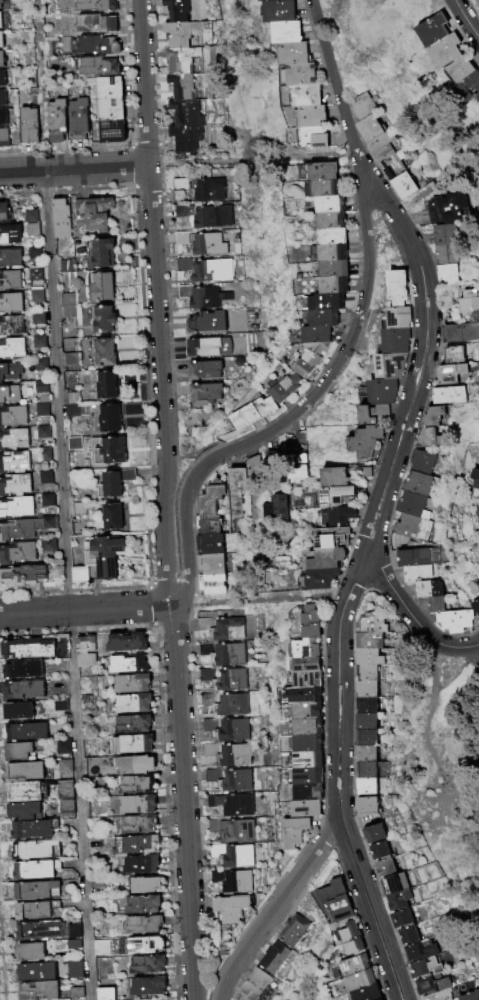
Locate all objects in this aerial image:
building: (270, 0)
building: (91, 6)
building: (176, 11)
building: (278, 11)
road: (466, 20)
building: (0, 24)
building: (91, 24)
building: (433, 30)
building: (286, 32)
building: (180, 34)
park: (360, 42)
building: (0, 43)
building: (93, 46)
building: (445, 51)
road: (326, 52)
building: (293, 53)
building: (1, 60)
building: (180, 60)
building: (94, 67)
building: (460, 69)
building: (299, 74)
building: (1, 79)
building: (469, 85)
building: (180, 88)
building: (105, 89)
building: (304, 96)
building: (477, 97)
building: (2, 99)
building: (362, 106)
building: (106, 110)
building: (181, 113)
building: (309, 116)
building: (2, 118)
building: (75, 120)
building: (53, 121)
building: (25, 126)
building: (368, 128)
building: (107, 132)
building: (3, 138)
building: (183, 139)
building: (311, 139)
road: (352, 143)
building: (379, 147)
building: (392, 166)
road: (74, 170)
building: (318, 172)
building: (219, 175)
building: (235, 178)
building: (180, 185)
building: (402, 185)
building: (319, 189)
building: (209, 191)
park: (419, 191)
road: (379, 196)
road: (365, 203)
building: (325, 205)
building: (452, 206)
building: (182, 212)
building: (434, 212)
building: (3, 213)
building: (91, 214)
building: (30, 217)
building: (62, 217)
building: (213, 218)
building: (326, 221)
road: (152, 228)
building: (32, 230)
building: (443, 235)
building: (9, 236)
building: (328, 237)
building: (183, 238)
road: (408, 243)
building: (209, 245)
park: (384, 245)
building: (34, 252)
building: (99, 253)
building: (325, 253)
building: (444, 255)
building: (9, 258)
building: (184, 266)
building: (65, 267)
building: (329, 269)
building: (212, 271)
building: (447, 274)
building: (35, 275)
building: (10, 281)
building: (329, 286)
building: (396, 286)
building: (99, 287)
building: (37, 297)
building: (204, 297)
building: (325, 302)
building: (10, 303)
building: (467, 304)
building: (68, 306)
building: (398, 316)
building: (319, 318)
building: (38, 319)
building: (100, 320)
building: (207, 323)
building: (11, 326)
building: (460, 332)
building: (312, 335)
building: (394, 339)
building: (39, 342)
building: (12, 348)
building: (209, 348)
building: (102, 353)
building: (310, 354)
building: (450, 355)
building: (71, 362)
building: (389, 364)
building: (41, 365)
building: (299, 370)
building: (205, 371)
building: (10, 372)
building: (445, 374)
building: (104, 385)
building: (41, 387)
building: (281, 388)
building: (381, 390)
building: (9, 395)
building: (205, 395)
building: (445, 395)
building: (72, 399)
building: (262, 407)
building: (42, 410)
building: (71, 411)
building: (372, 412)
building: (246, 414)
building: (12, 416)
building: (428, 416)
building: (106, 419)
road: (397, 420)
building: (234, 421)
road: (411, 422)
road: (275, 427)
building: (43, 433)
building: (424, 438)
building: (299, 439)
building: (13, 440)
building: (364, 440)
building: (73, 444)
building: (108, 452)
building: (44, 455)
building: (271, 459)
building: (417, 462)
building: (13, 463)
building: (253, 467)
building: (297, 468)
building: (474, 474)
building: (340, 476)
building: (45, 478)
building: (111, 483)
building: (412, 484)
building: (478, 484)
building: (15, 485)
building: (237, 491)
building: (333, 496)
road: (62, 499)
building: (211, 499)
building: (47, 501)
building: (406, 505)
building: (16, 508)
building: (275, 508)
building: (79, 510)
building: (477, 514)
building: (337, 516)
building: (108, 517)
building: (208, 525)
building: (25, 528)
building: (408, 528)
building: (323, 538)
building: (209, 545)
building: (49, 546)
building: (17, 553)
building: (101, 555)
building: (417, 557)
building: (323, 558)
building: (211, 566)
building: (420, 573)
building: (78, 575)
building: (22, 576)
building: (318, 578)
building: (212, 586)
building: (428, 589)
building: (435, 605)
building: (475, 607)
road: (342, 608)
road: (86, 609)
road: (405, 609)
building: (455, 621)
building: (310, 622)
building: (368, 624)
building: (223, 628)
building: (364, 641)
building: (129, 643)
road: (468, 646)
building: (59, 647)
building: (30, 649)
building: (205, 649)
building: (86, 652)
building: (229, 654)
building: (302, 655)
building: (365, 658)
building: (130, 665)
road: (433, 666)
building: (25, 670)
building: (364, 672)
road: (458, 672)
building: (207, 674)
building: (305, 678)
building: (231, 680)
building: (134, 684)
building: (364, 688)
building: (26, 690)
road: (177, 691)
building: (301, 695)
building: (208, 699)
building: (134, 704)
building: (88, 705)
building: (233, 705)
building: (364, 705)
building: (60, 706)
building: (20, 711)
building: (299, 711)
building: (364, 722)
building: (135, 724)
building: (210, 725)
building: (299, 727)
building: (233, 730)
building: (29, 732)
road: (429, 733)
building: (364, 737)
building: (138, 744)
building: (299, 744)
building: (63, 748)
building: (23, 750)
building: (211, 750)
building: (364, 753)
building: (235, 755)
park: (443, 756)
building: (305, 760)
building: (137, 766)
building: (65, 767)
building: (365, 769)
building: (27, 772)
building: (213, 775)
building: (306, 776)
building: (237, 781)
building: (139, 785)
building: (364, 785)
building: (38, 791)
building: (306, 792)
building: (232, 804)
building: (140, 805)
building: (66, 807)
building: (365, 807)
building: (304, 808)
building: (26, 811)
building: (141, 825)
building: (234, 829)
building: (35, 830)
building: (294, 831)
road: (336, 832)
road: (350, 832)
building: (372, 833)
building: (139, 845)
building: (38, 850)
building: (234, 855)
building: (381, 858)
building: (143, 865)
building: (37, 870)
building: (233, 880)
building: (97, 883)
building: (394, 884)
building: (147, 885)
building: (39, 891)
building: (335, 900)
building: (398, 900)
building: (142, 905)
building: (230, 907)
road: (272, 910)
building: (37, 911)
building: (401, 918)
building: (146, 925)
building: (49, 931)
building: (292, 931)
building: (408, 935)
building: (351, 938)
building: (74, 944)
building: (146, 946)
building: (102, 948)
building: (419, 951)
building: (32, 952)
building: (272, 958)
road: (192, 962)
building: (149, 965)
building: (353, 965)
building: (425, 966)
building: (75, 970)
building: (39, 973)
building: (359, 980)
building: (253, 985)
building: (431, 985)
building: (150, 987)
building: (41, 991)
building: (76, 993)
building: (366, 993)
building: (108, 994)
building: (438, 995)
building: (470, 995)
building: (380, 999)

